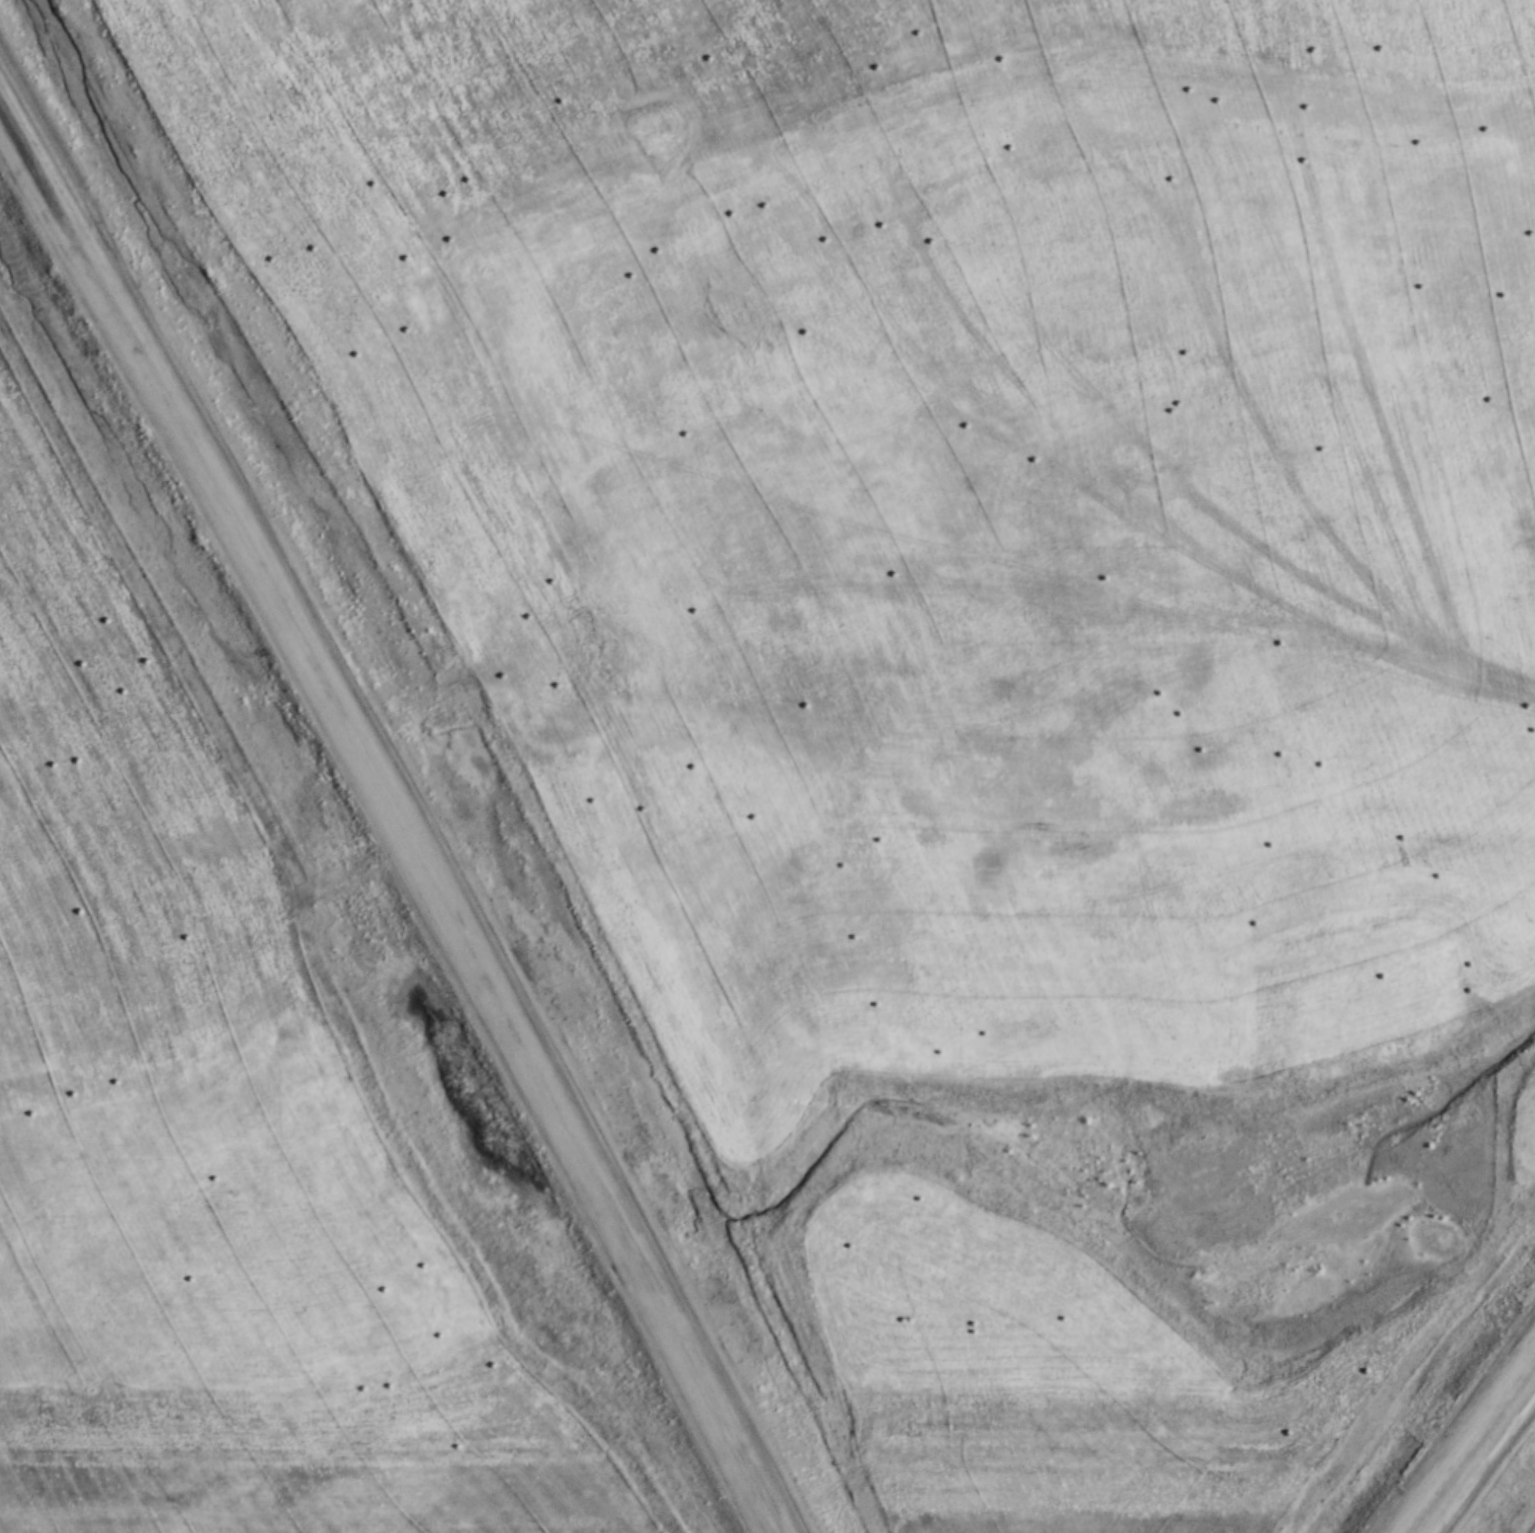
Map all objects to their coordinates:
quarry: (1401, 1522)

